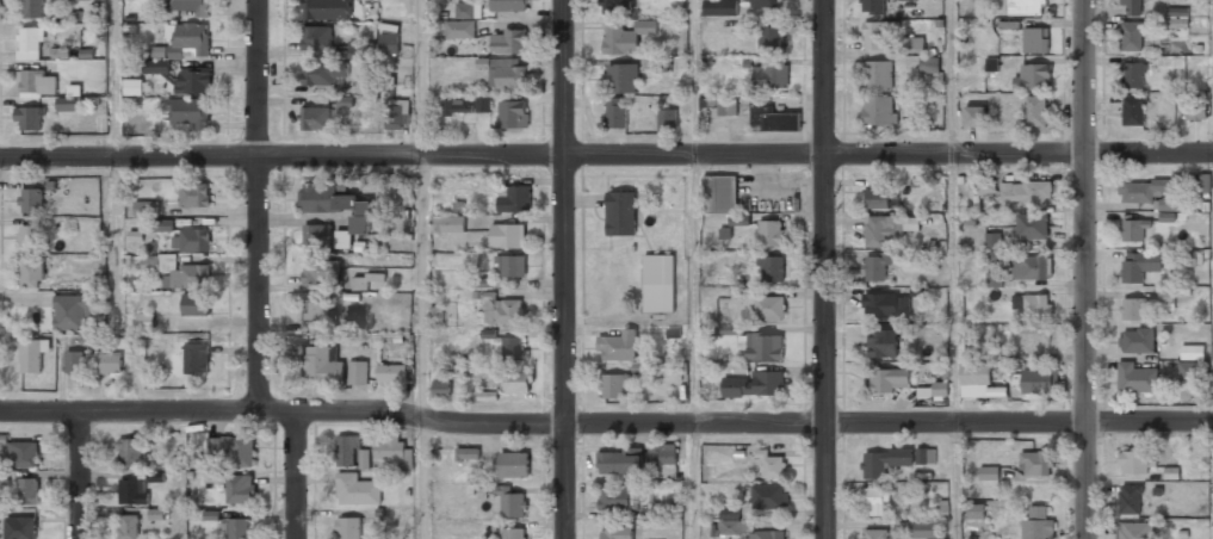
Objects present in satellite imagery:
building: (80, 0)
building: (766, 4)
building: (190, 6)
building: (508, 6)
building: (615, 6)
building: (872, 6)
building: (1027, 7)
building: (720, 8)
building: (1132, 8)
building: (32, 10)
building: (316, 10)
building: (465, 11)
building: (1177, 18)
building: (459, 30)
building: (873, 36)
building: (625, 38)
building: (772, 38)
building: (1132, 38)
building: (316, 39)
building: (188, 41)
building: (1035, 41)
building: (508, 42)
building: (389, 43)
building: (31, 44)
building: (914, 45)
building: (930, 64)
building: (991, 64)
building: (155, 67)
building: (324, 75)
building: (508, 75)
building: (1133, 75)
building: (878, 76)
building: (770, 78)
building: (1033, 78)
building: (623, 79)
building: (194, 80)
building: (37, 83)
building: (134, 87)
building: (68, 104)
building: (483, 104)
building: (458, 106)
building: (726, 107)
building: (1197, 107)
building: (1036, 111)
building: (1133, 111)
building: (878, 112)
building: (188, 113)
building: (615, 113)
building: (513, 114)
building: (397, 116)
building: (315, 118)
building: (973, 118)
building: (29, 119)
building: (667, 119)
building: (776, 122)
road: (115, 150)
road: (1149, 151)
road: (541, 154)
building: (921, 181)
building: (1205, 181)
building: (985, 185)
building: (1140, 192)
building: (1026, 193)
building: (194, 196)
building: (719, 196)
building: (514, 199)
building: (878, 199)
building: (31, 202)
road: (258, 206)
building: (146, 207)
building: (336, 209)
road: (422, 210)
building: (621, 213)
building: (1166, 216)
building: (163, 224)
building: (450, 224)
building: (1032, 227)
building: (889, 229)
building: (1133, 231)
building: (772, 233)
building: (317, 236)
building: (508, 236)
building: (30, 238)
building: (197, 241)
building: (992, 241)
building: (911, 261)
building: (1139, 265)
building: (512, 267)
building: (879, 267)
building: (1032, 267)
building: (772, 268)
road: (953, 268)
road: (563, 269)
road: (695, 269)
road: (824, 269)
road: (1084, 269)
building: (315, 274)
building: (31, 275)
building: (190, 277)
building: (994, 279)
building: (364, 280)
building: (657, 283)
building: (1165, 298)
building: (196, 305)
building: (885, 305)
building: (1033, 306)
building: (769, 308)
building: (1134, 309)
building: (317, 310)
building: (503, 311)
building: (74, 312)
building: (437, 314)
building: (353, 320)
building: (147, 321)
building: (732, 329)
building: (1137, 340)
building: (881, 342)
building: (1036, 345)
building: (765, 347)
building: (513, 348)
building: (1193, 352)
building: (31, 358)
building: (197, 359)
building: (74, 363)
building: (106, 364)
building: (323, 364)
building: (602, 367)
building: (1192, 370)
building: (358, 373)
building: (391, 373)
building: (1135, 379)
building: (890, 380)
building: (515, 382)
building: (978, 382)
building: (1038, 382)
building: (755, 385)
building: (441, 389)
building: (933, 391)
road: (1149, 421)
road: (541, 425)
building: (389, 447)
building: (233, 450)
building: (347, 450)
building: (131, 453)
building: (469, 453)
building: (668, 454)
building: (23, 456)
building: (924, 457)
building: (365, 459)
building: (619, 461)
building: (885, 461)
building: (770, 463)
building: (1134, 463)
building: (514, 464)
building: (1035, 464)
building: (990, 473)
road: (79, 475)
road: (297, 475)
building: (2, 477)
road: (423, 479)
building: (240, 489)
building: (357, 490)
building: (29, 491)
building: (132, 492)
building: (770, 496)
building: (615, 500)
building: (1130, 500)
building: (512, 503)
building: (874, 503)
building: (974, 512)
building: (156, 514)
building: (734, 522)
building: (1038, 525)
building: (128, 527)
building: (21, 528)
building: (237, 528)
building: (348, 528)
building: (923, 531)
building: (1134, 531)
building: (618, 532)
building: (513, 533)
building: (875, 534)
building: (767, 535)

